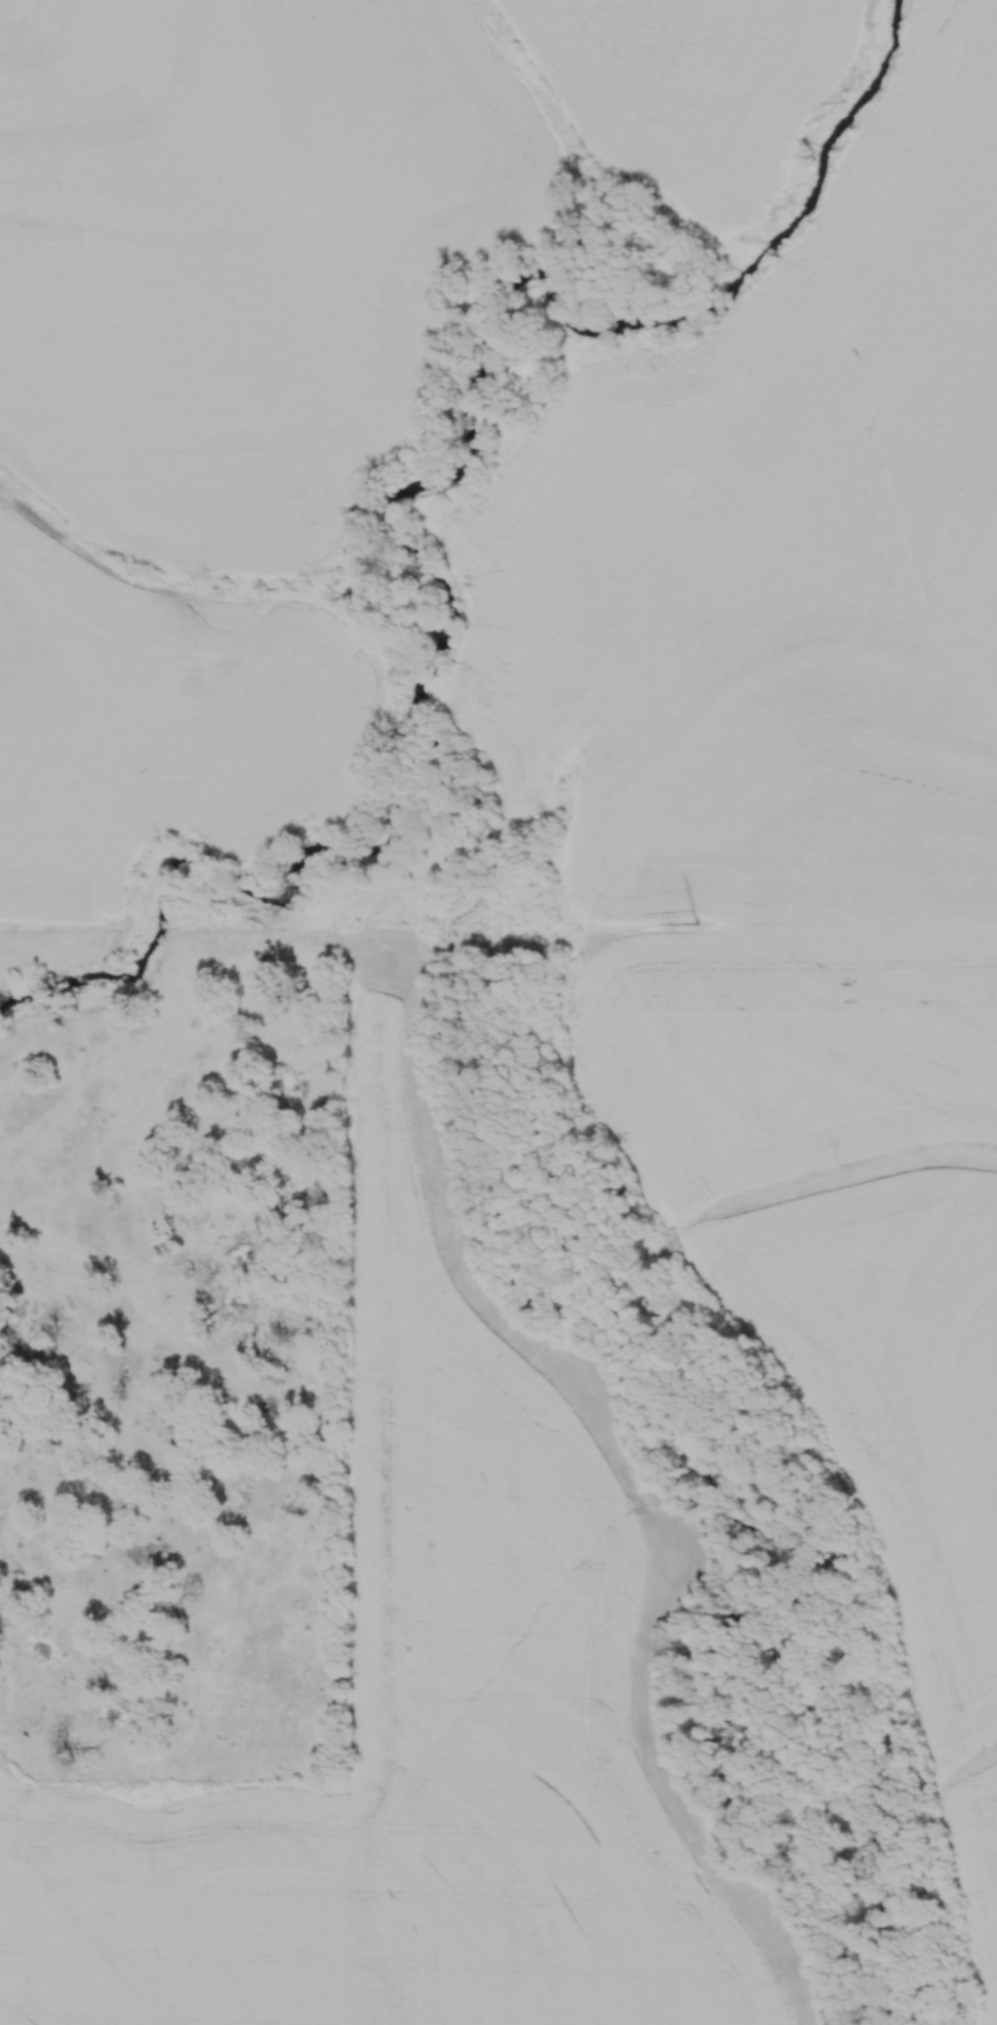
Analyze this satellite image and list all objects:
power tower: (698, 914)

